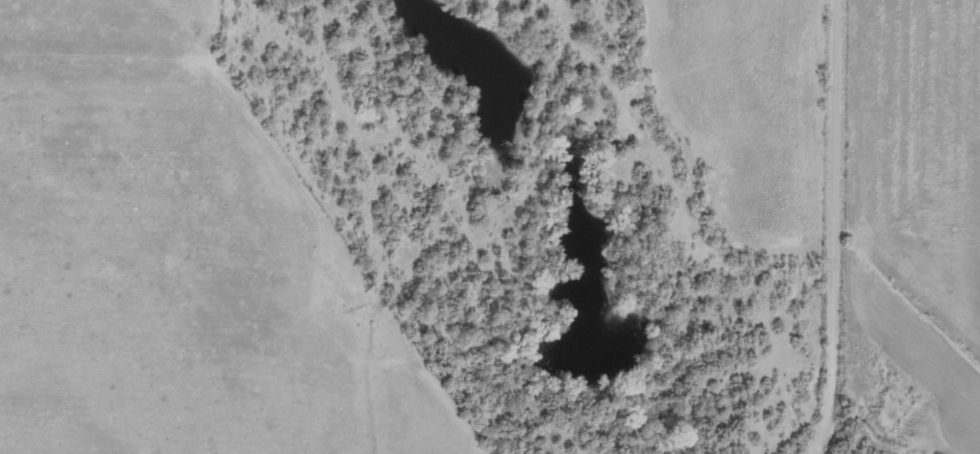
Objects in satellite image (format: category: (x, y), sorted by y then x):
road: (128, 52)
road: (840, 228)

